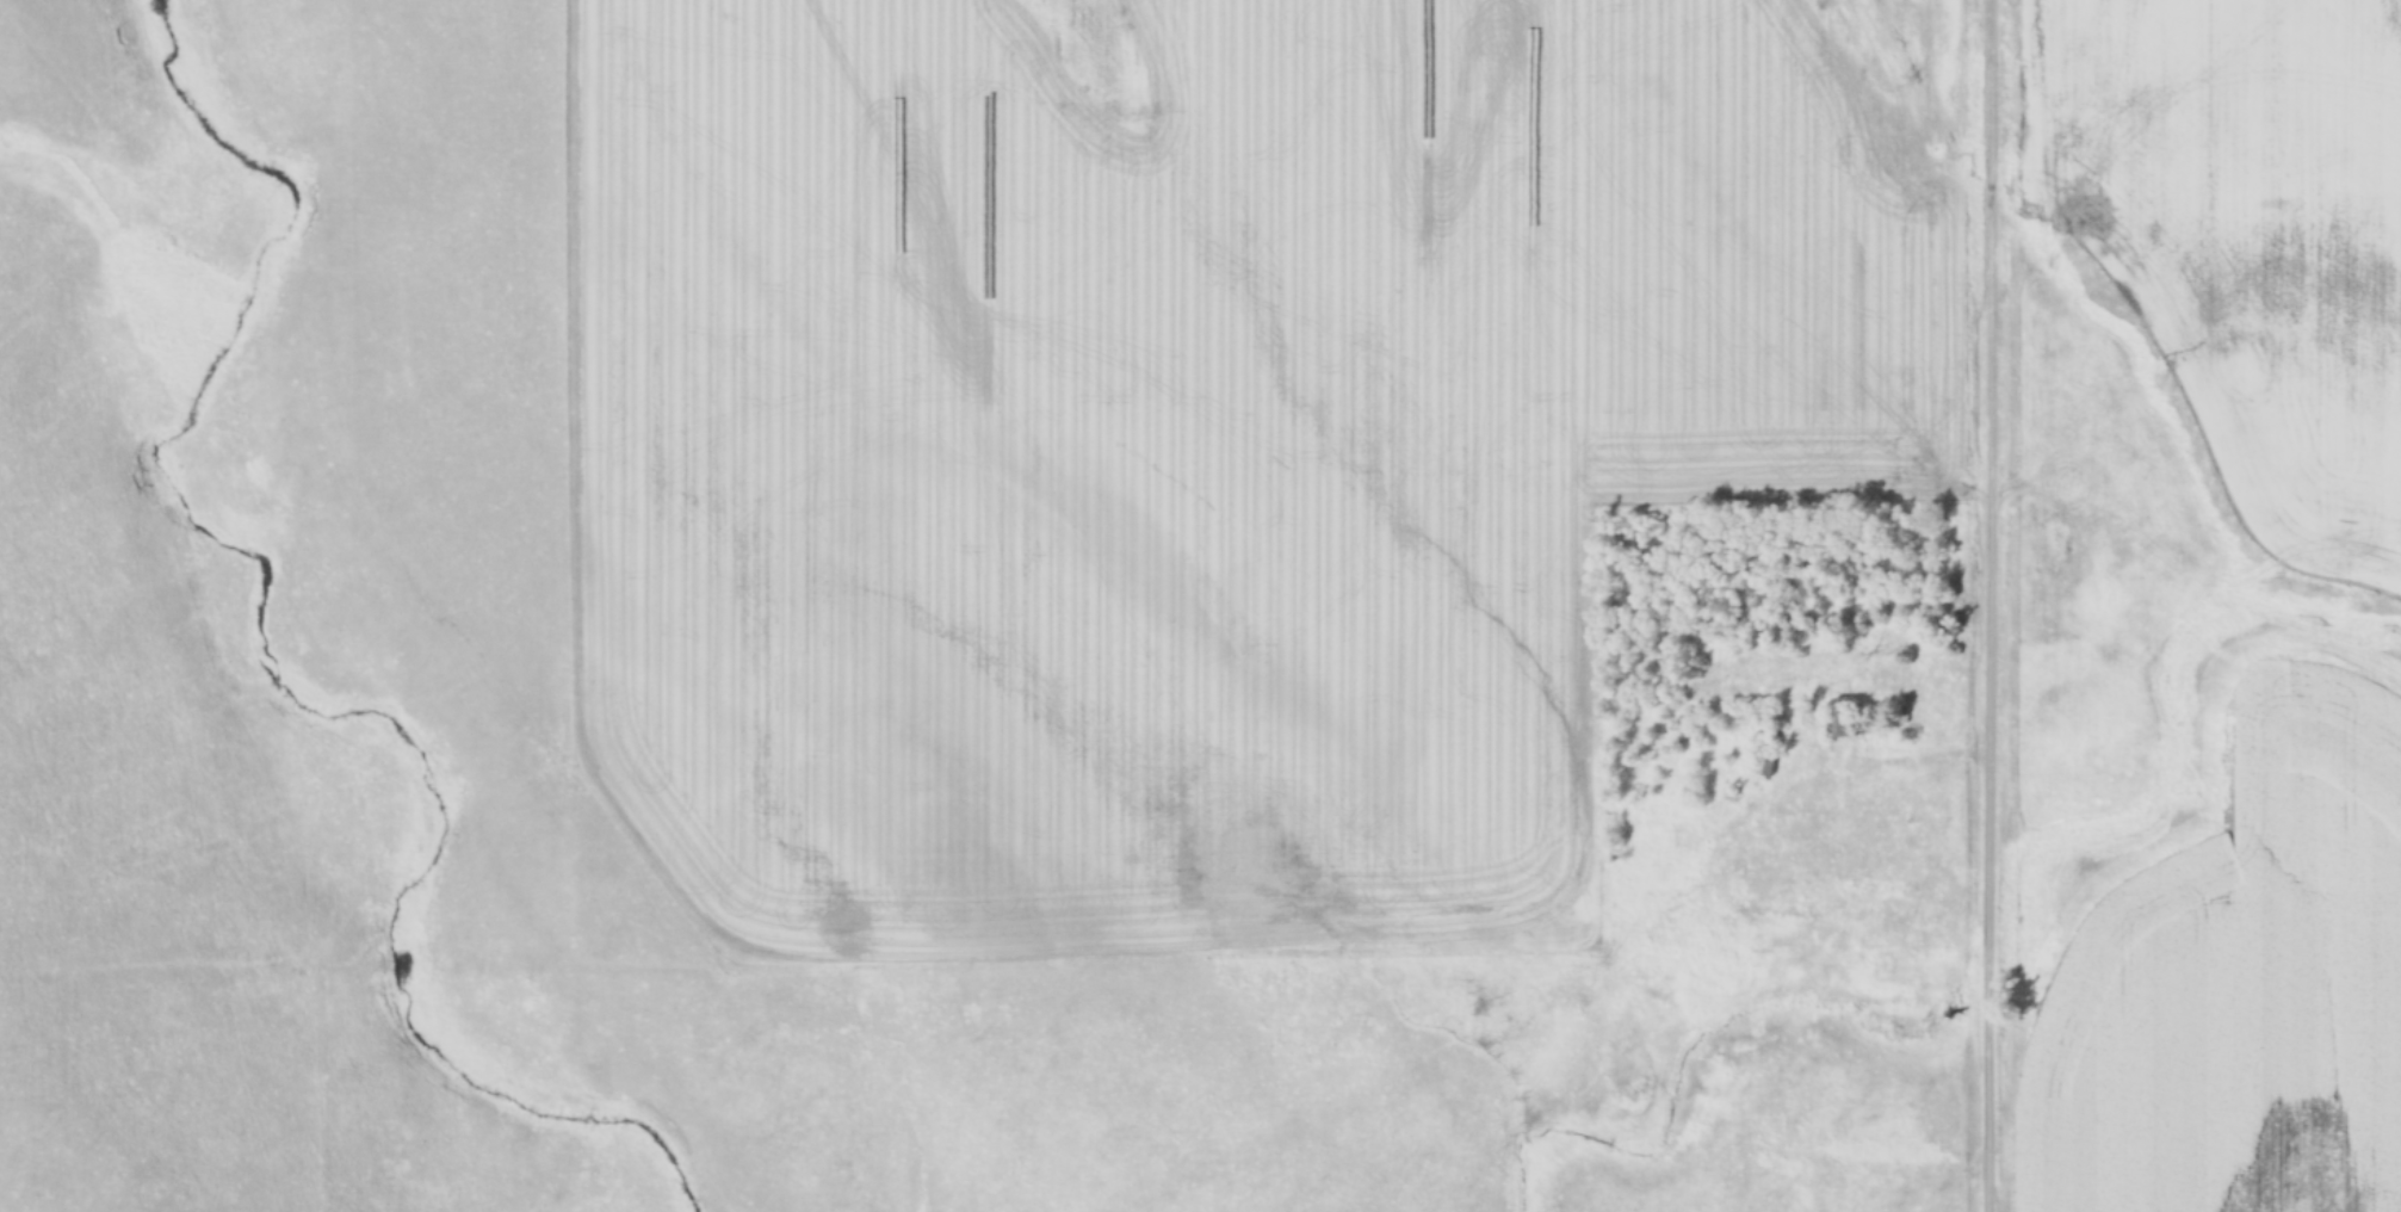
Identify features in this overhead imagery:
road: (1990, 606)
building: (1840, 717)

